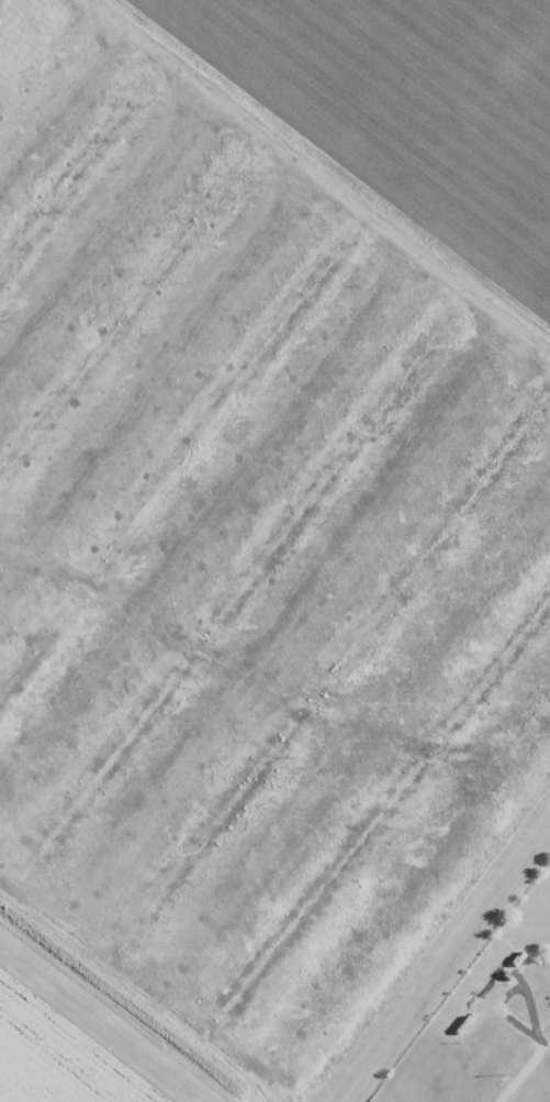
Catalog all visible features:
road: (537, 1059)

